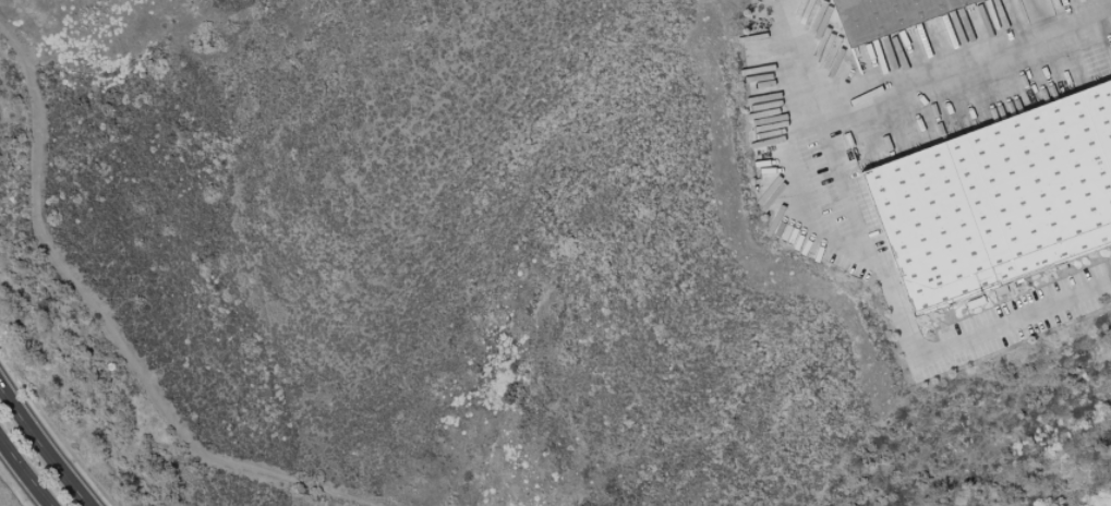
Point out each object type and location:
building: (889, 16)
road: (896, 98)
building: (998, 201)
road: (108, 329)
road: (907, 345)
road: (44, 448)
road: (22, 478)

